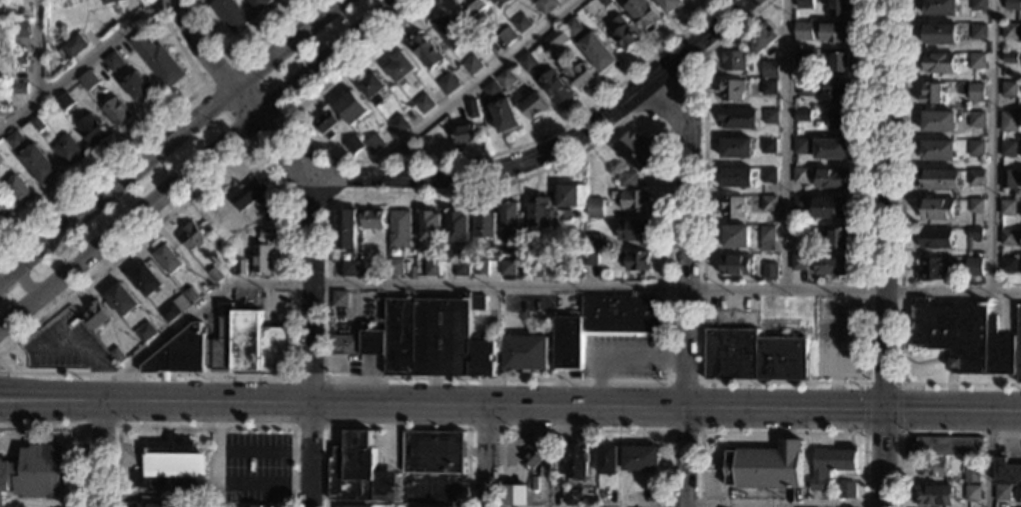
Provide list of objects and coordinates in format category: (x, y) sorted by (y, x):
building: (111, 1)
building: (804, 1)
building: (605, 2)
building: (259, 3)
building: (500, 3)
building: (545, 5)
building: (669, 5)
building: (978, 5)
building: (1012, 5)
building: (474, 8)
building: (839, 8)
building: (941, 8)
building: (229, 14)
building: (642, 14)
building: (6, 23)
building: (520, 23)
building: (802, 26)
building: (572, 27)
building: (61, 28)
building: (20, 29)
building: (978, 31)
building: (1010, 31)
building: (450, 32)
building: (836, 32)
building: (622, 33)
building: (939, 34)
building: (506, 36)
building: (556, 38)
building: (758, 40)
road: (693, 43)
building: (72, 47)
road: (200, 47)
road: (37, 51)
building: (597, 52)
building: (425, 53)
road: (241, 55)
building: (19, 58)
road: (323, 58)
building: (803, 58)
building: (1010, 58)
building: (157, 60)
building: (113, 61)
building: (526, 61)
building: (733, 61)
building: (826, 61)
building: (977, 61)
building: (839, 62)
building: (471, 64)
building: (939, 64)
road: (80, 66)
building: (399, 67)
building: (769, 69)
building: (581, 75)
building: (505, 78)
building: (88, 80)
building: (447, 83)
road: (467, 86)
building: (768, 86)
building: (18, 88)
building: (139, 88)
building: (372, 88)
building: (556, 88)
building: (805, 88)
building: (731, 89)
building: (491, 90)
building: (1009, 90)
building: (837, 91)
building: (976, 91)
building: (931, 94)
building: (64, 101)
building: (423, 104)
road: (621, 105)
building: (533, 106)
building: (351, 108)
building: (472, 109)
building: (116, 112)
building: (803, 114)
building: (503, 115)
building: (770, 116)
building: (737, 118)
building: (839, 119)
building: (977, 120)
road: (278, 121)
building: (937, 121)
building: (1009, 122)
building: (326, 123)
building: (37, 124)
building: (398, 124)
building: (92, 130)
road: (177, 134)
building: (465, 134)
road: (139, 138)
building: (14, 140)
building: (375, 144)
road: (786, 144)
building: (354, 145)
road: (995, 145)
building: (768, 146)
building: (801, 146)
building: (736, 148)
building: (831, 149)
building: (976, 149)
building: (1008, 149)
building: (68, 150)
building: (635, 150)
building: (938, 151)
road: (423, 163)
building: (39, 164)
road: (496, 167)
building: (768, 175)
building: (800, 175)
building: (976, 177)
building: (737, 178)
building: (831, 178)
building: (1007, 178)
building: (626, 179)
building: (938, 180)
road: (332, 183)
road: (171, 184)
building: (18, 191)
building: (567, 196)
building: (253, 198)
building: (634, 200)
building: (769, 203)
building: (800, 203)
building: (976, 206)
building: (830, 207)
building: (1008, 207)
building: (594, 208)
building: (732, 208)
building: (936, 209)
building: (4, 211)
building: (539, 212)
building: (510, 216)
building: (372, 219)
building: (485, 224)
building: (430, 226)
building: (458, 226)
building: (345, 228)
building: (400, 229)
building: (633, 229)
building: (800, 231)
building: (974, 232)
building: (193, 236)
road: (293, 237)
building: (736, 237)
building: (767, 238)
building: (838, 238)
building: (935, 238)
building: (1008, 238)
building: (591, 240)
building: (437, 251)
building: (265, 253)
road: (887, 253)
road: (900, 253)
building: (591, 258)
building: (167, 259)
building: (636, 260)
building: (798, 262)
building: (1008, 265)
building: (736, 266)
building: (832, 266)
building: (973, 266)
building: (240, 267)
building: (367, 267)
building: (396, 267)
building: (480, 267)
building: (508, 267)
building: (564, 268)
building: (351, 269)
building: (432, 269)
building: (462, 269)
building: (536, 269)
building: (769, 270)
building: (932, 270)
road: (7, 271)
building: (218, 273)
road: (64, 274)
road: (7, 277)
building: (146, 280)
road: (684, 280)
building: (817, 281)
road: (26, 283)
road: (542, 284)
road: (309, 286)
building: (192, 295)
building: (340, 299)
building: (122, 300)
building: (183, 303)
building: (478, 303)
building: (502, 309)
road: (19, 311)
building: (169, 312)
building: (96, 316)
building: (604, 323)
building: (145, 332)
building: (962, 336)
building: (429, 340)
parking lot: (836, 340)
parking lot: (66, 343)
building: (344, 345)
building: (1019, 346)
building: (226, 347)
road: (90, 348)
building: (526, 353)
building: (117, 355)
road: (616, 356)
building: (753, 357)
road: (836, 358)
road: (89, 361)
road: (3, 373)
road: (851, 377)
road: (394, 378)
road: (769, 384)
road: (154, 399)
road: (665, 405)
traffic signals: (886, 410)
road: (84, 416)
road: (83, 425)
road: (203, 426)
road: (218, 426)
road: (325, 428)
road: (395, 428)
road: (484, 429)
road: (582, 430)
road: (699, 432)
road: (781, 433)
road: (897, 434)
road: (923, 434)
building: (949, 446)
road: (103, 452)
building: (434, 452)
road: (309, 453)
road: (485, 455)
building: (532, 459)
building: (640, 459)
road: (989, 459)
building: (577, 460)
building: (607, 460)
building: (831, 465)
building: (173, 466)
building: (764, 466)
building: (933, 466)
road: (710, 468)
road: (218, 469)
parking lot: (257, 470)
building: (972, 470)
building: (1007, 471)
building: (359, 472)
building: (33, 473)
road: (141, 476)
building: (139, 480)
road: (718, 487)
building: (847, 490)
building: (972, 493)
building: (1002, 493)
building: (516, 495)
building: (933, 495)
building: (574, 496)
building: (607, 497)
road: (12, 500)
road: (14, 504)
road: (65, 504)
road: (772, 504)
building: (153, 505)
building: (259, 506)
building: (357, 506)
building: (435, 506)

